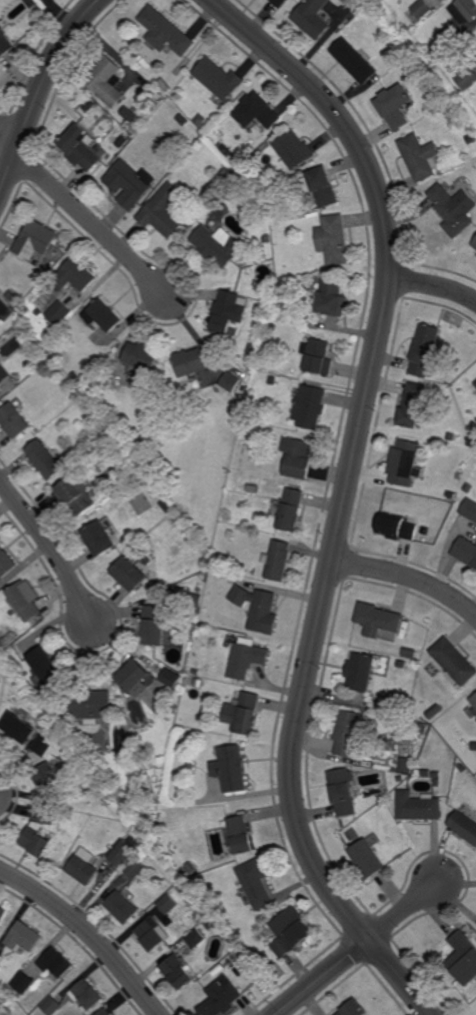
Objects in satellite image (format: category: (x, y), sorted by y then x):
building: (279, 3)
building: (422, 9)
building: (464, 10)
building: (312, 17)
building: (166, 31)
building: (446, 39)
building: (5, 42)
building: (434, 48)
building: (354, 61)
building: (460, 69)
building: (467, 78)
building: (106, 80)
building: (219, 80)
building: (164, 85)
road: (41, 91)
building: (433, 95)
building: (394, 106)
building: (257, 111)
building: (183, 119)
building: (201, 119)
building: (471, 138)
road: (8, 143)
building: (81, 147)
building: (294, 150)
building: (420, 156)
building: (225, 172)
building: (130, 183)
building: (321, 186)
building: (454, 209)
building: (163, 211)
road: (90, 224)
building: (268, 239)
building: (333, 240)
building: (33, 241)
building: (474, 244)
building: (218, 245)
building: (75, 277)
road: (433, 286)
building: (13, 297)
building: (331, 298)
building: (25, 309)
building: (229, 312)
building: (39, 313)
building: (58, 314)
building: (104, 316)
building: (295, 321)
building: (29, 336)
building: (251, 349)
building: (423, 350)
building: (316, 357)
building: (142, 360)
building: (191, 364)
building: (3, 375)
building: (75, 376)
building: (233, 378)
building: (271, 380)
building: (70, 383)
building: (475, 384)
building: (0, 389)
building: (474, 392)
building: (412, 406)
building: (309, 407)
building: (14, 421)
building: (451, 437)
building: (127, 443)
building: (297, 458)
building: (44, 460)
building: (405, 464)
building: (449, 494)
road: (346, 495)
building: (75, 496)
building: (167, 506)
building: (469, 509)
building: (289, 510)
building: (175, 517)
building: (396, 527)
building: (230, 533)
building: (101, 536)
road: (53, 548)
building: (465, 551)
building: (7, 560)
building: (277, 560)
building: (218, 564)
building: (132, 573)
road: (408, 577)
building: (25, 599)
building: (196, 601)
building: (256, 608)
building: (377, 619)
building: (156, 624)
building: (409, 653)
building: (248, 658)
building: (454, 660)
building: (48, 663)
building: (401, 663)
building: (360, 671)
building: (196, 672)
building: (138, 676)
building: (173, 678)
building: (199, 683)
building: (474, 699)
building: (95, 705)
building: (174, 710)
building: (435, 712)
building: (471, 712)
building: (245, 714)
building: (20, 727)
building: (423, 727)
building: (348, 734)
building: (46, 745)
building: (474, 746)
building: (192, 765)
building: (406, 768)
building: (462, 768)
building: (233, 769)
building: (427, 773)
building: (436, 774)
building: (391, 777)
building: (50, 778)
building: (438, 782)
building: (83, 786)
building: (342, 792)
building: (419, 806)
building: (49, 814)
building: (464, 826)
building: (243, 835)
building: (37, 840)
building: (125, 851)
building: (368, 856)
building: (84, 867)
building: (137, 868)
building: (256, 884)
building: (208, 888)
building: (182, 889)
building: (170, 904)
building: (124, 906)
road: (403, 910)
building: (3, 915)
building: (211, 925)
building: (291, 932)
road: (88, 933)
building: (153, 935)
building: (24, 937)
building: (198, 938)
building: (464, 958)
building: (1, 959)
building: (162, 960)
building: (57, 964)
building: (179, 973)
road: (322, 977)
building: (23, 984)
building: (88, 995)
building: (223, 998)
building: (52, 1006)
building: (353, 1009)
building: (106, 1012)

